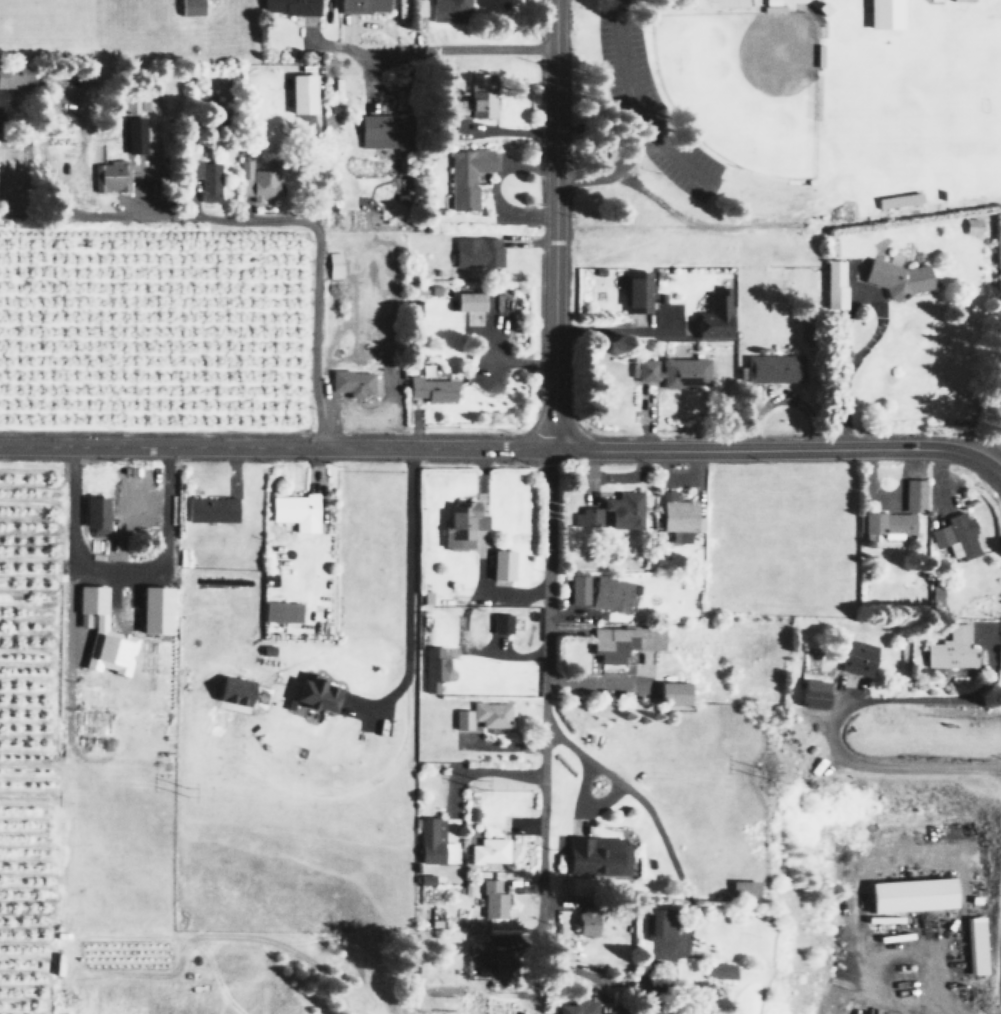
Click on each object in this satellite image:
building: (361, 6)
building: (189, 7)
building: (288, 7)
building: (443, 10)
building: (884, 14)
road: (461, 49)
building: (14, 75)
park: (742, 85)
building: (300, 92)
building: (480, 92)
park: (923, 97)
building: (447, 103)
road: (634, 108)
building: (134, 134)
building: (466, 175)
building: (110, 176)
building: (206, 178)
building: (257, 181)
building: (898, 199)
road: (554, 223)
building: (971, 225)
road: (318, 246)
building: (477, 251)
building: (334, 264)
building: (896, 277)
building: (834, 284)
building: (636, 292)
building: (468, 300)
building: (713, 316)
road: (848, 366)
building: (773, 368)
building: (674, 370)
building: (351, 382)
building: (429, 388)
road: (781, 402)
road: (276, 447)
road: (781, 448)
building: (914, 494)
building: (210, 509)
building: (624, 509)
building: (294, 510)
building: (95, 514)
building: (679, 516)
building: (587, 517)
building: (887, 524)
building: (460, 525)
building: (956, 535)
building: (500, 564)
building: (579, 589)
road: (547, 592)
building: (610, 593)
road: (406, 602)
building: (153, 609)
building: (280, 611)
building: (500, 623)
building: (101, 632)
building: (651, 637)
building: (610, 643)
building: (951, 648)
building: (857, 656)
building: (432, 667)
building: (232, 690)
building: (670, 692)
building: (812, 693)
building: (311, 694)
road: (846, 710)
building: (482, 715)
road: (628, 793)
road: (545, 815)
building: (433, 842)
building: (489, 850)
building: (595, 855)
building: (424, 879)
building: (742, 889)
building: (910, 894)
building: (492, 899)
building: (585, 923)
building: (657, 923)
building: (976, 945)
building: (408, 951)
building: (479, 957)
building: (718, 969)
building: (576, 1006)

